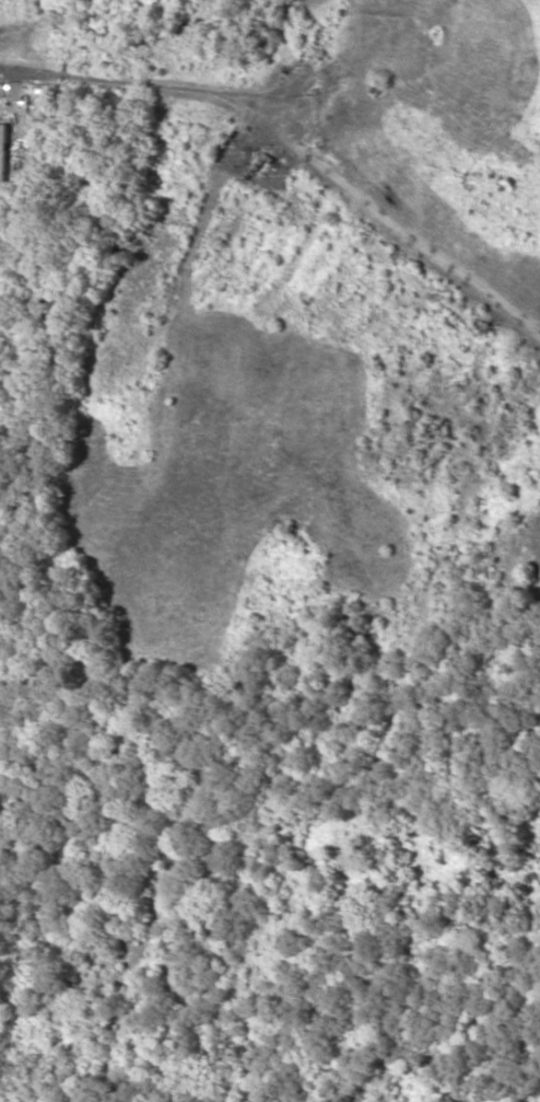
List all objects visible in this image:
road: (10, 70)
building: (3, 169)

